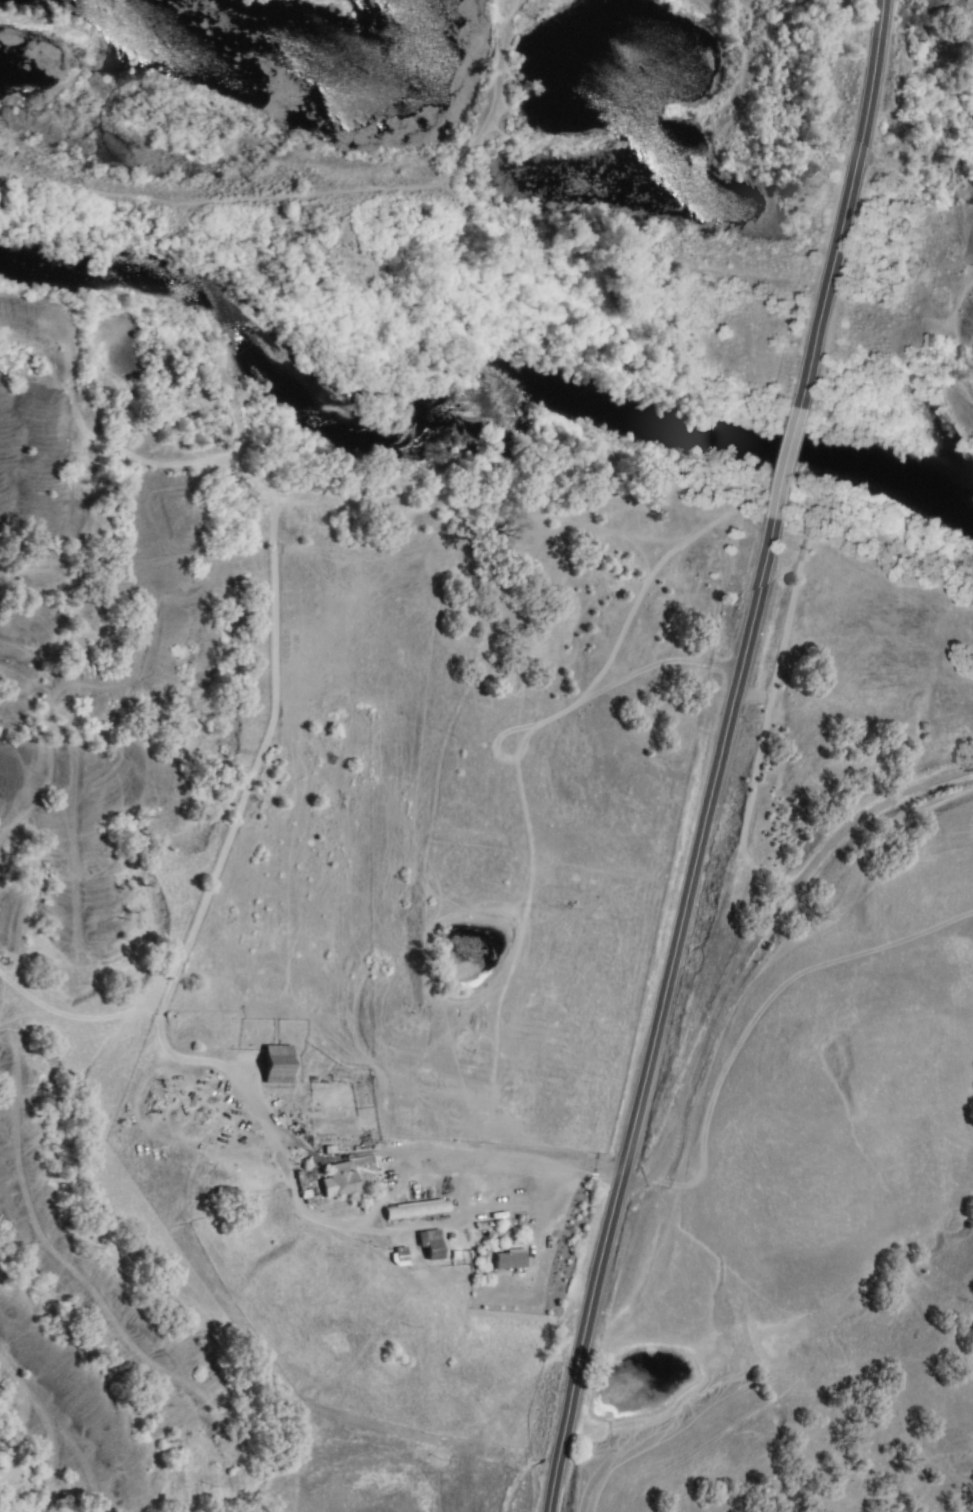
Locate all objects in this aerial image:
river: (77, 191)
road: (849, 200)
river: (555, 387)
road: (785, 463)
road: (754, 952)
road: (660, 1020)
building: (279, 1065)
road: (516, 1168)
building: (341, 1179)
building: (417, 1209)
building: (433, 1245)
building: (511, 1260)

